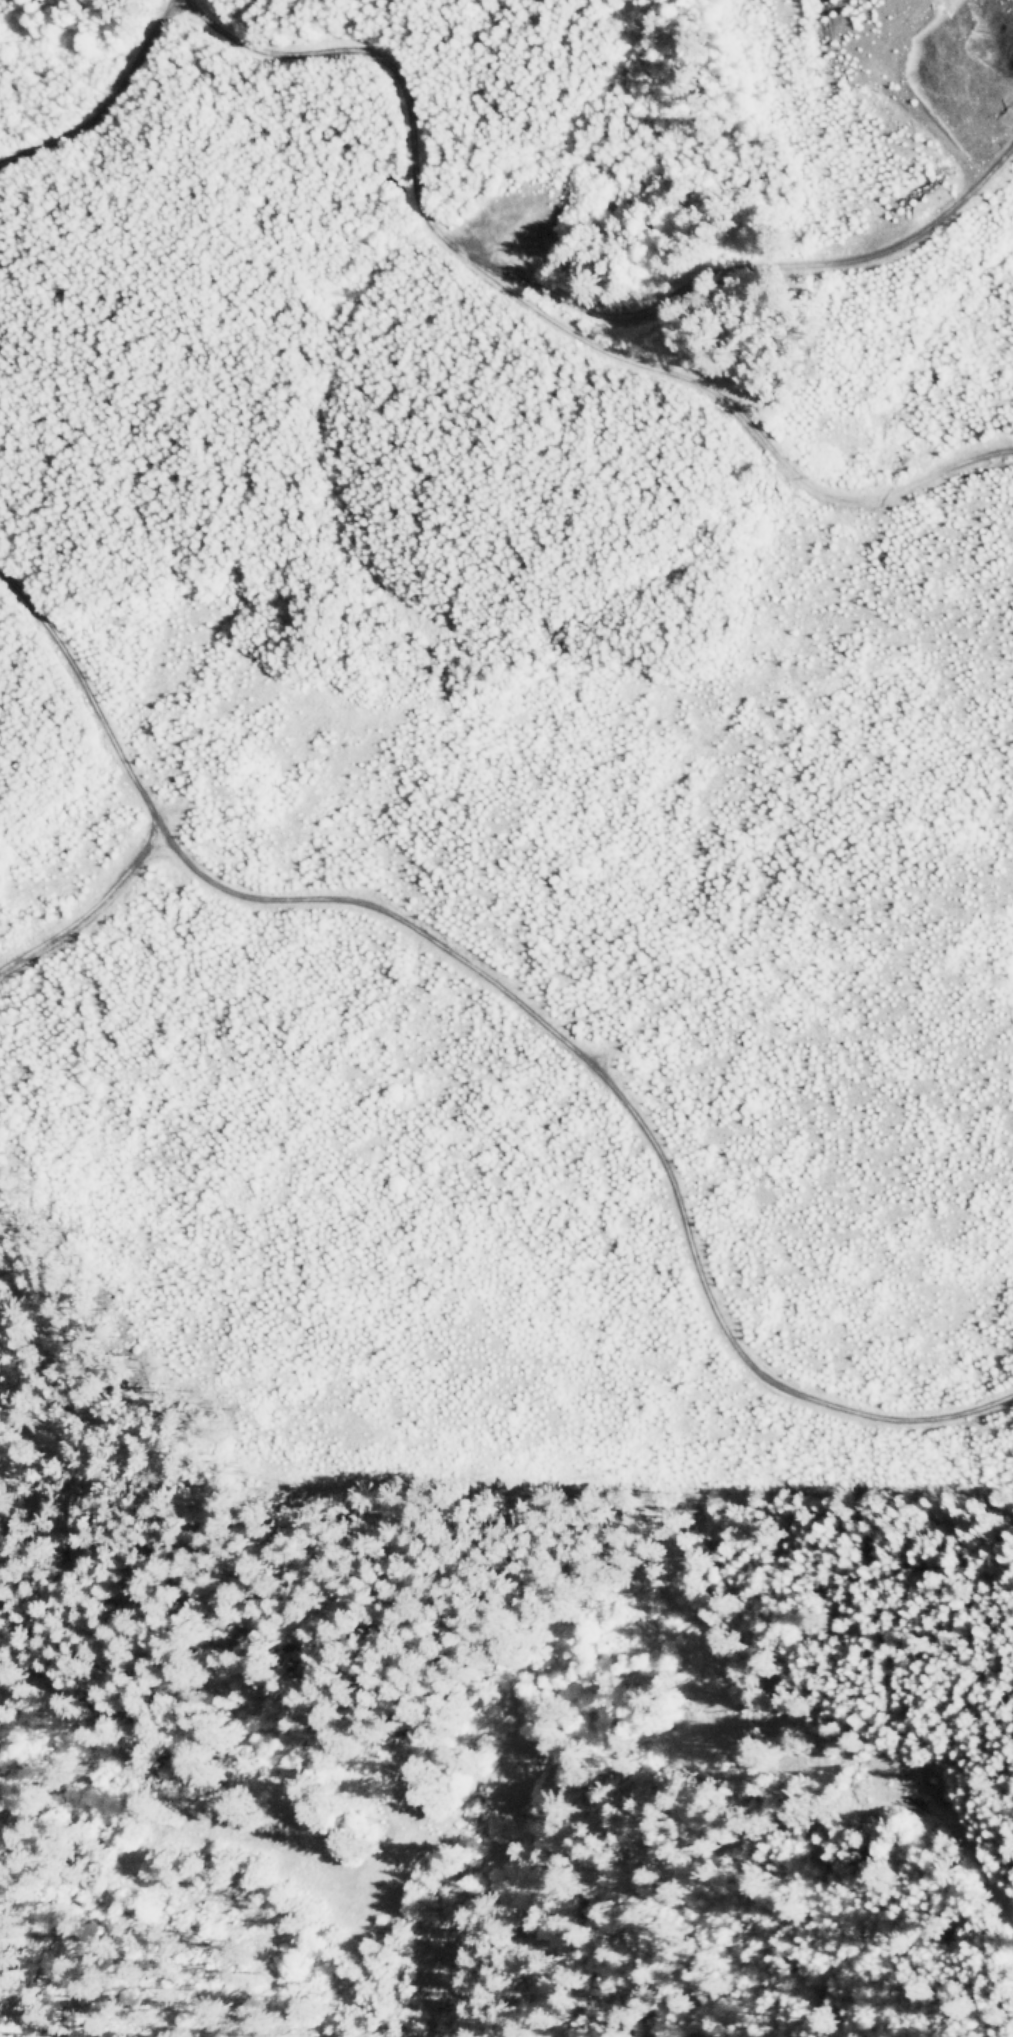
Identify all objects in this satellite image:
road: (97, 95)
road: (237, 148)
road: (522, 1003)
road: (486, 1545)
road: (960, 1832)

